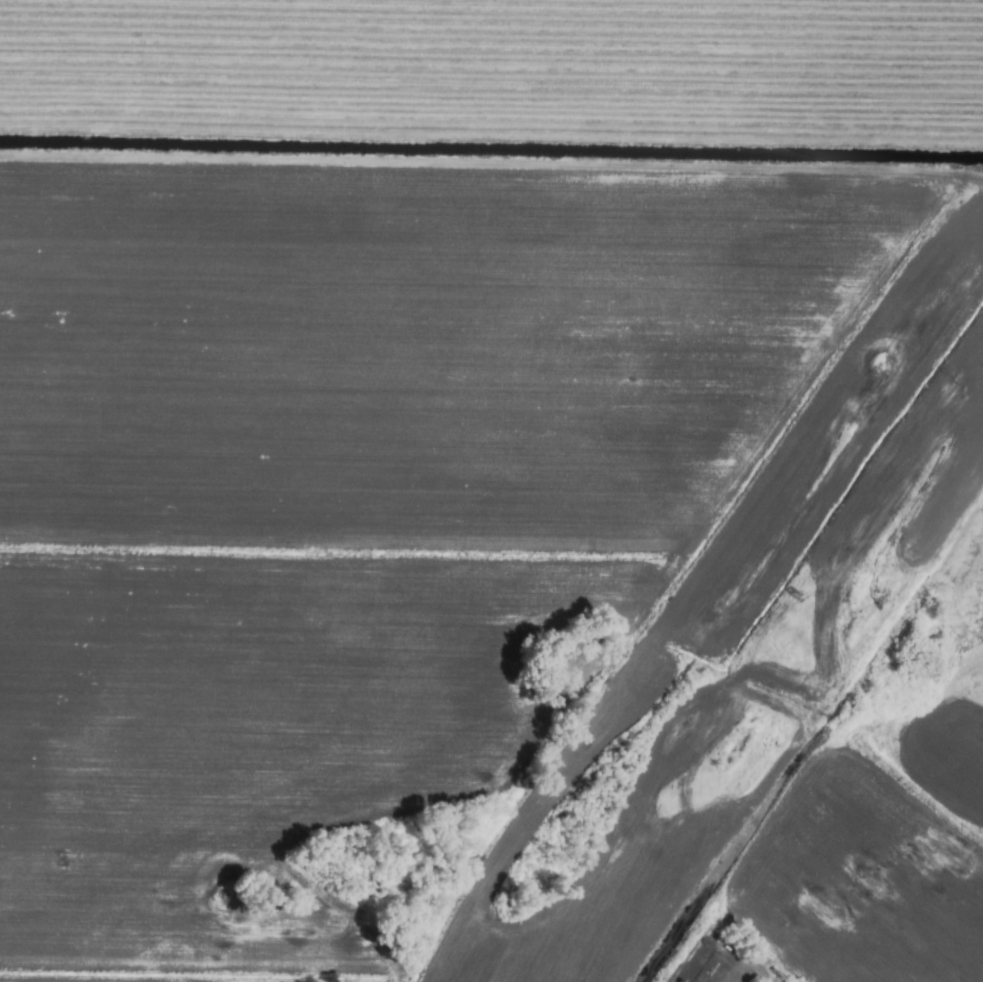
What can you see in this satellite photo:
crop: (491, 491)

